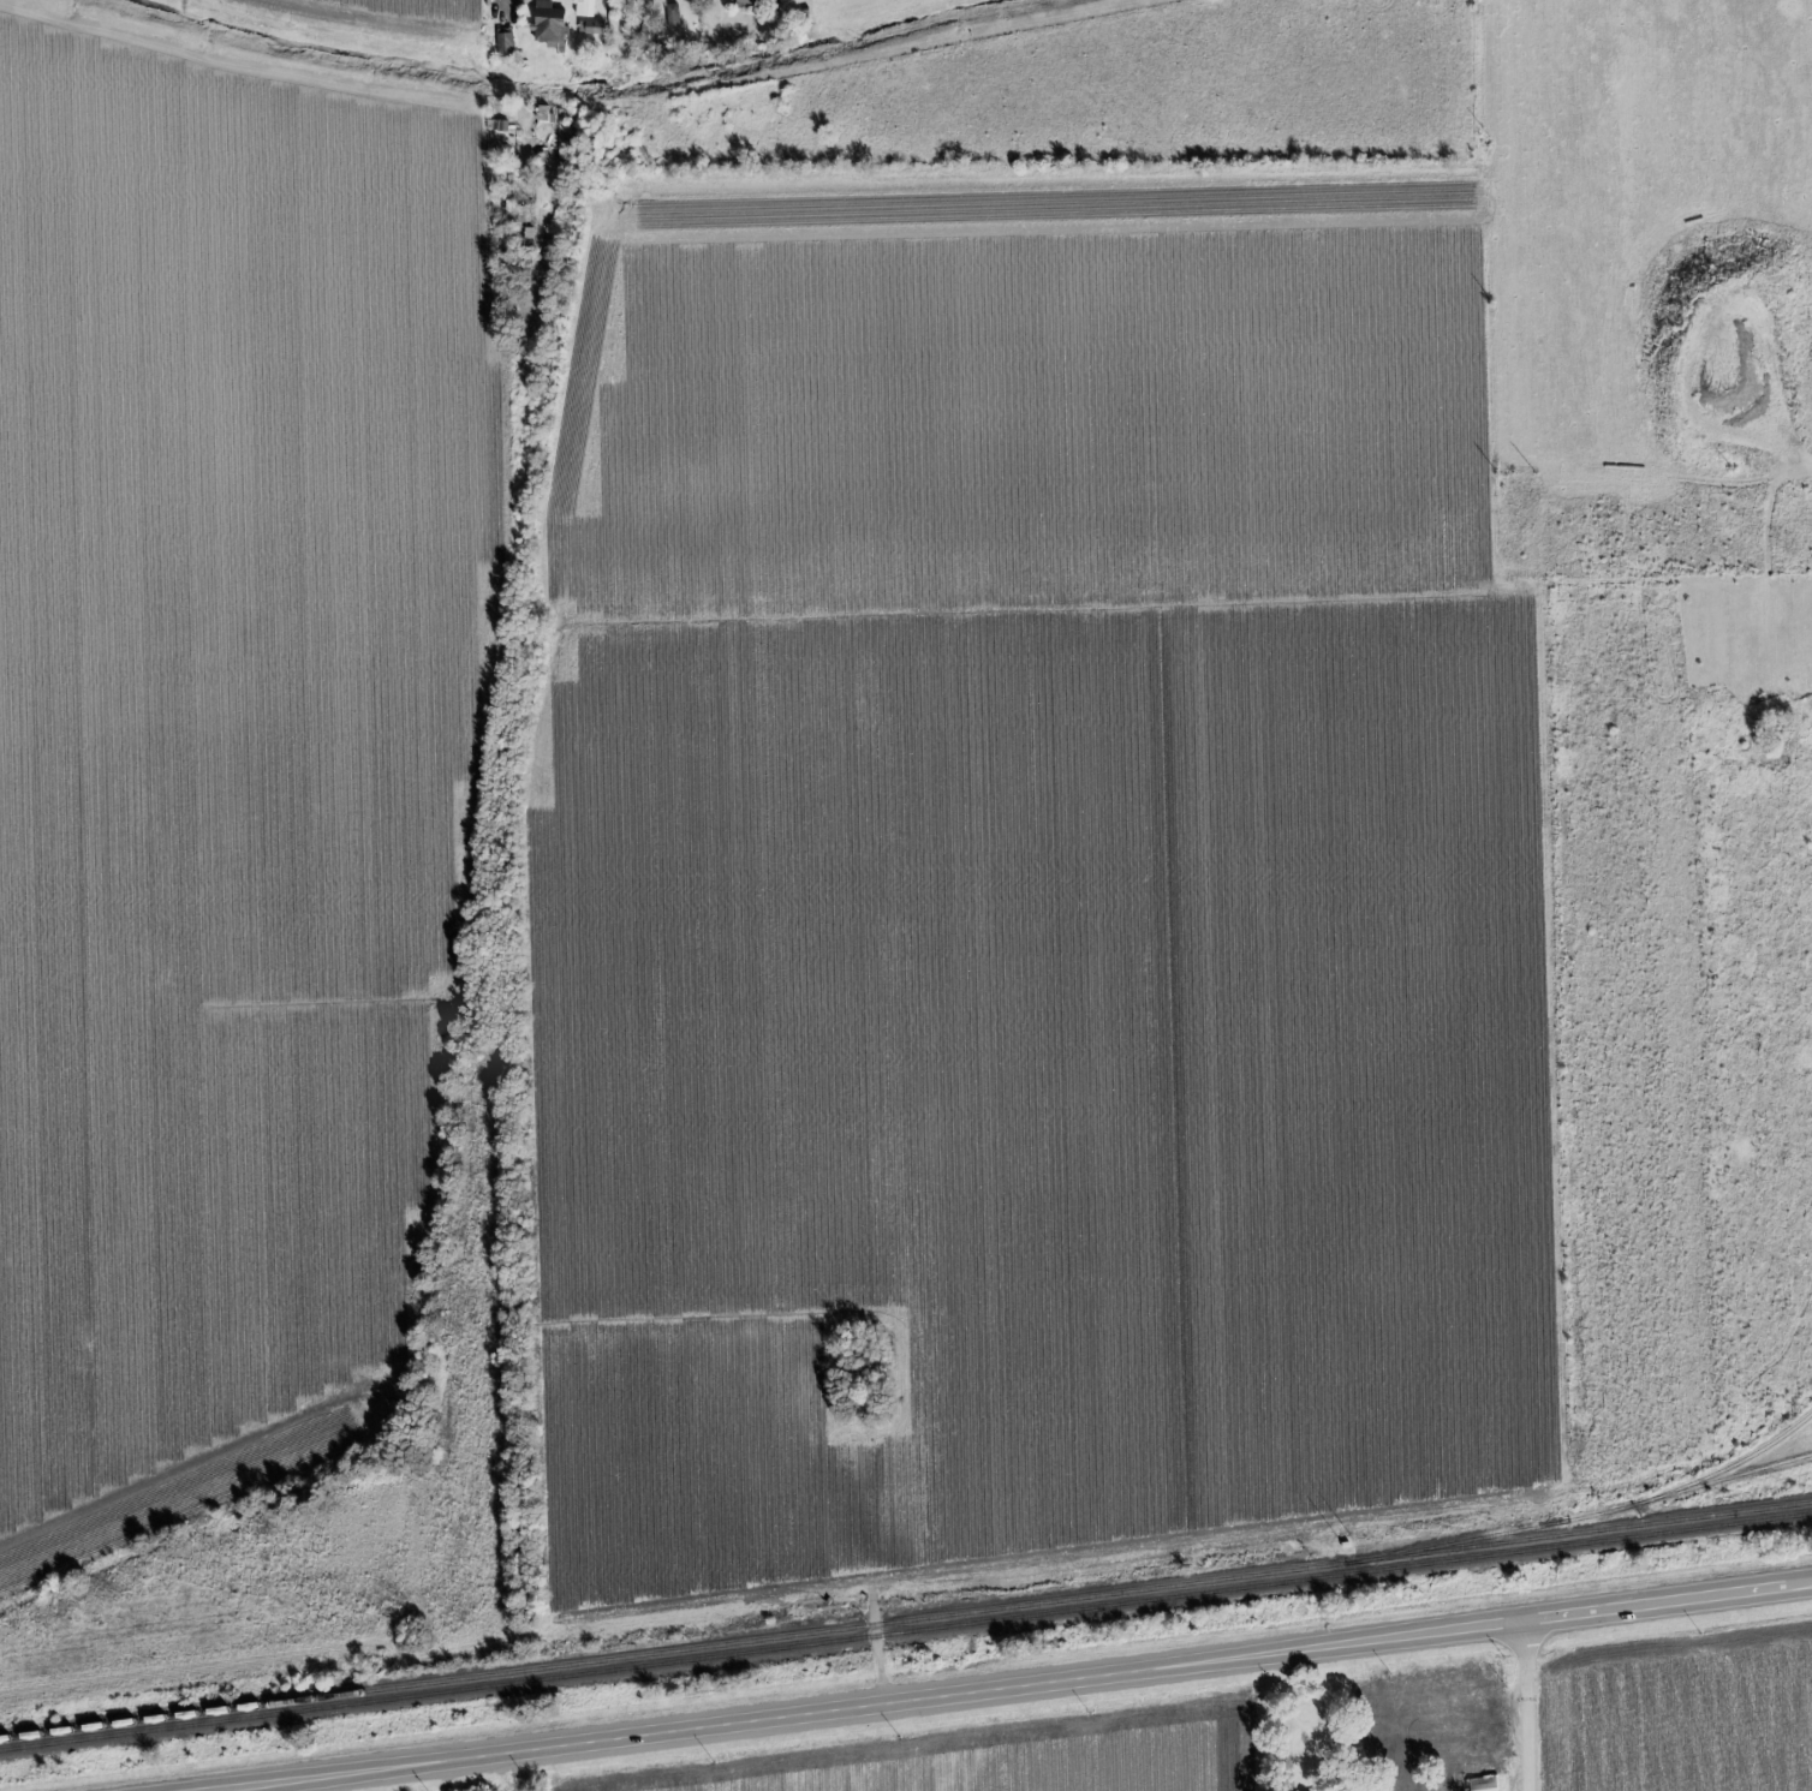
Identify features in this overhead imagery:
road: (502, 2)
building: (745, 2)
building: (627, 4)
building: (548, 23)
building: (505, 40)
railway: (1730, 1467)
road: (862, 1511)
railway: (1579, 1520)
railway: (905, 1620)
railway: (906, 1634)
road: (1019, 1688)
road: (1534, 1707)
building: (1483, 1784)

